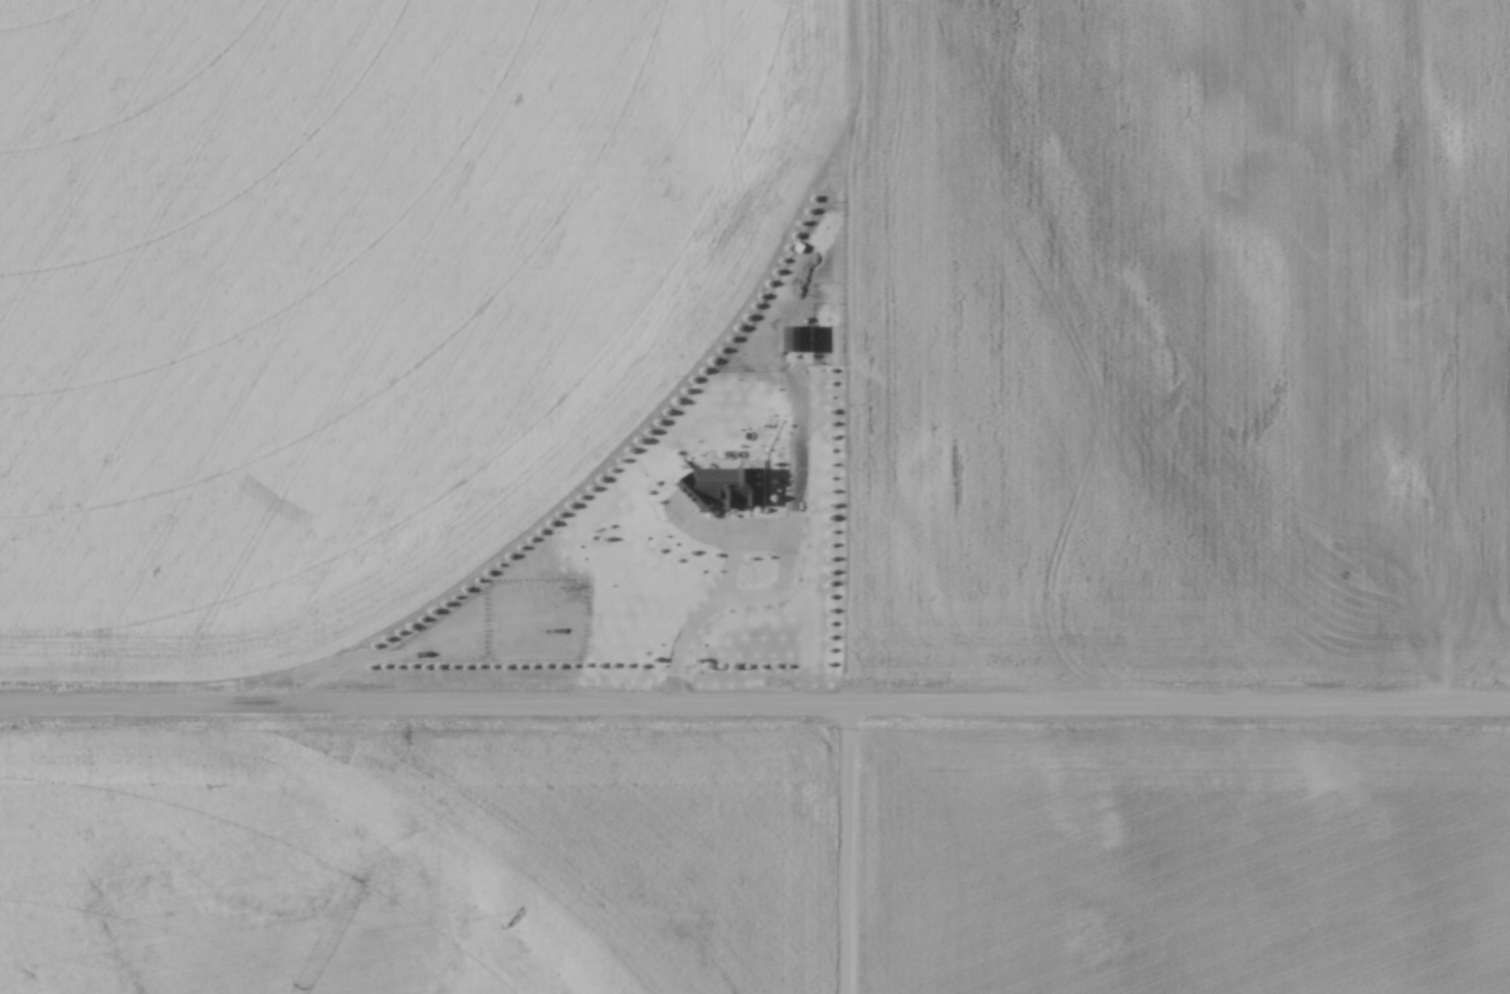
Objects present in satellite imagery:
road: (754, 702)
road: (848, 848)

